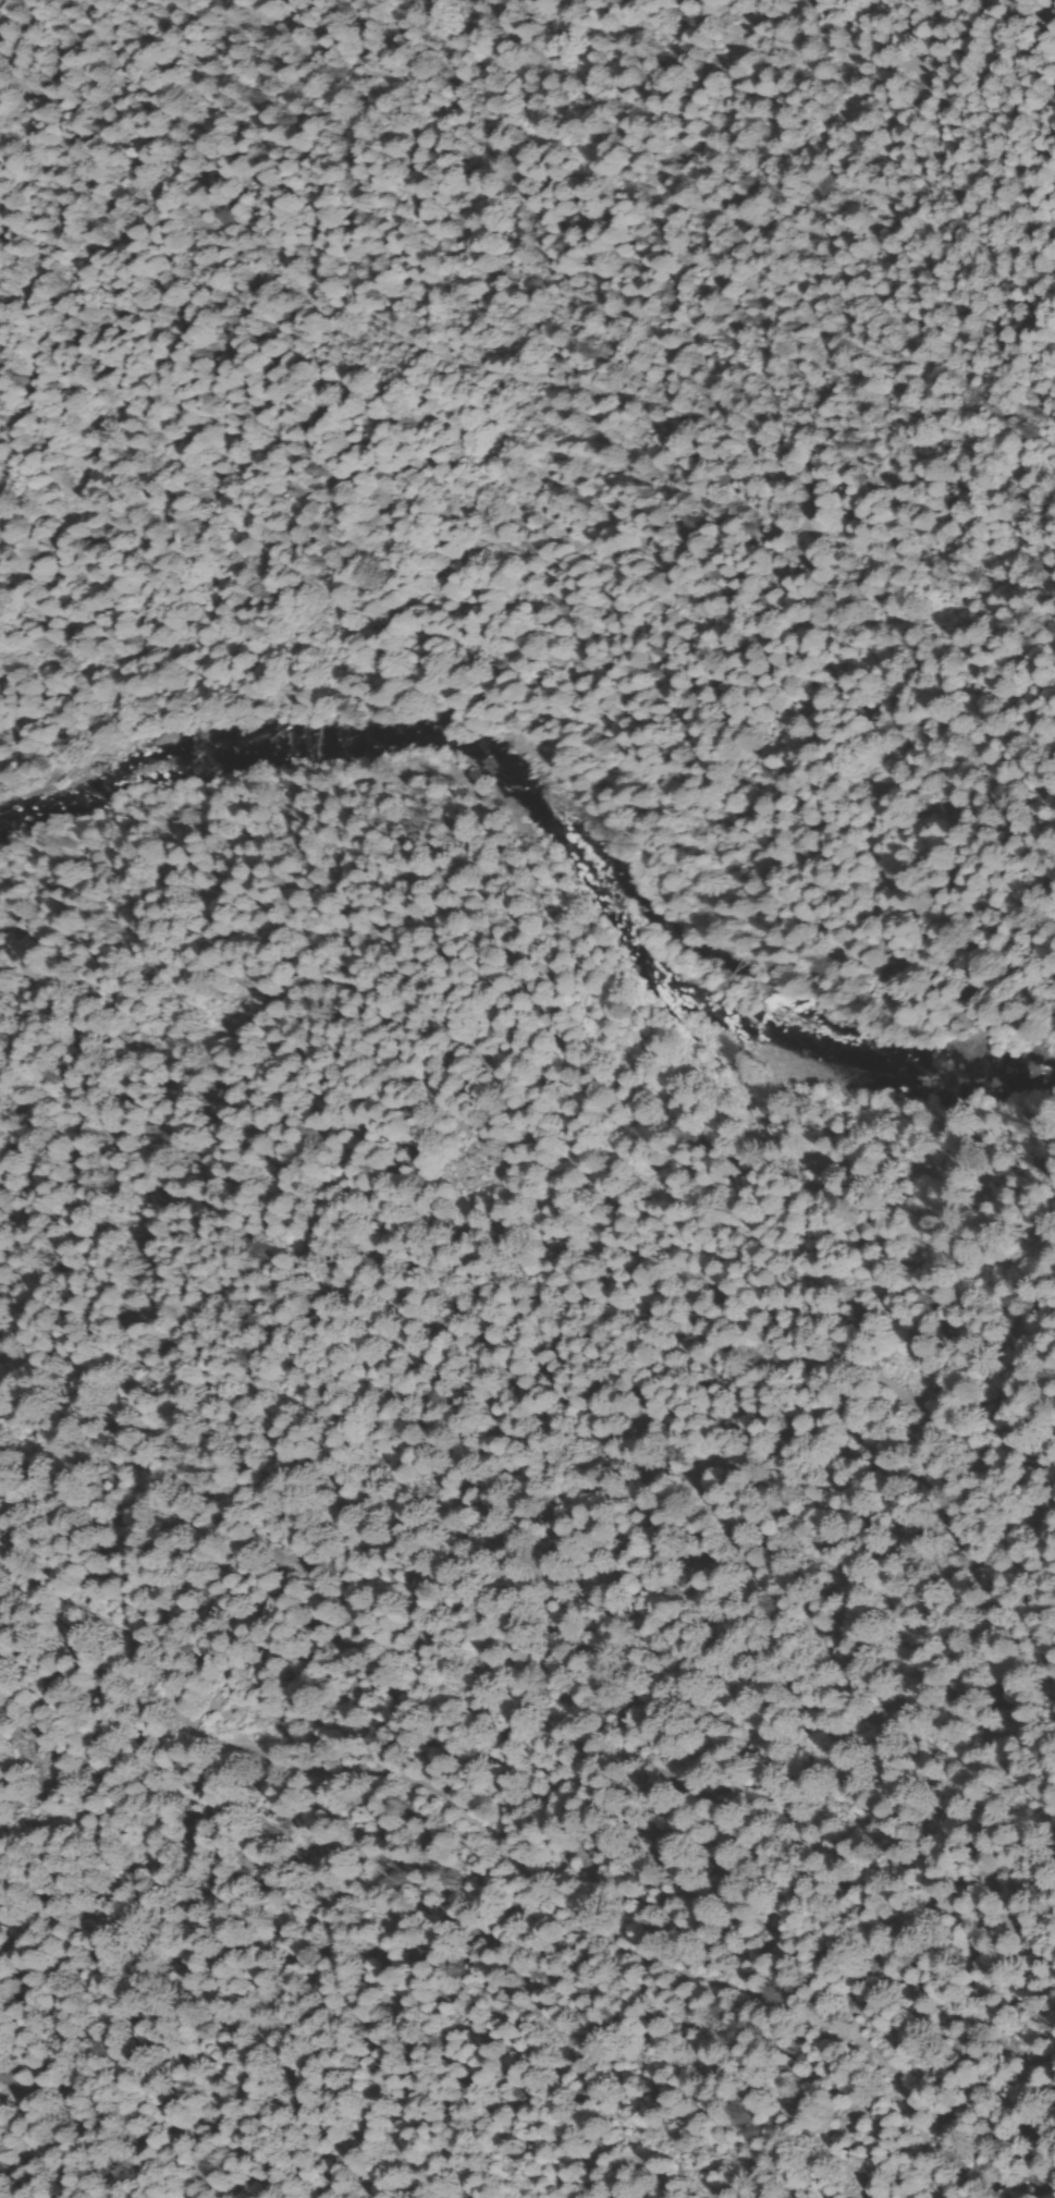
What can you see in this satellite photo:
river: (564, 808)
road: (540, 1822)

